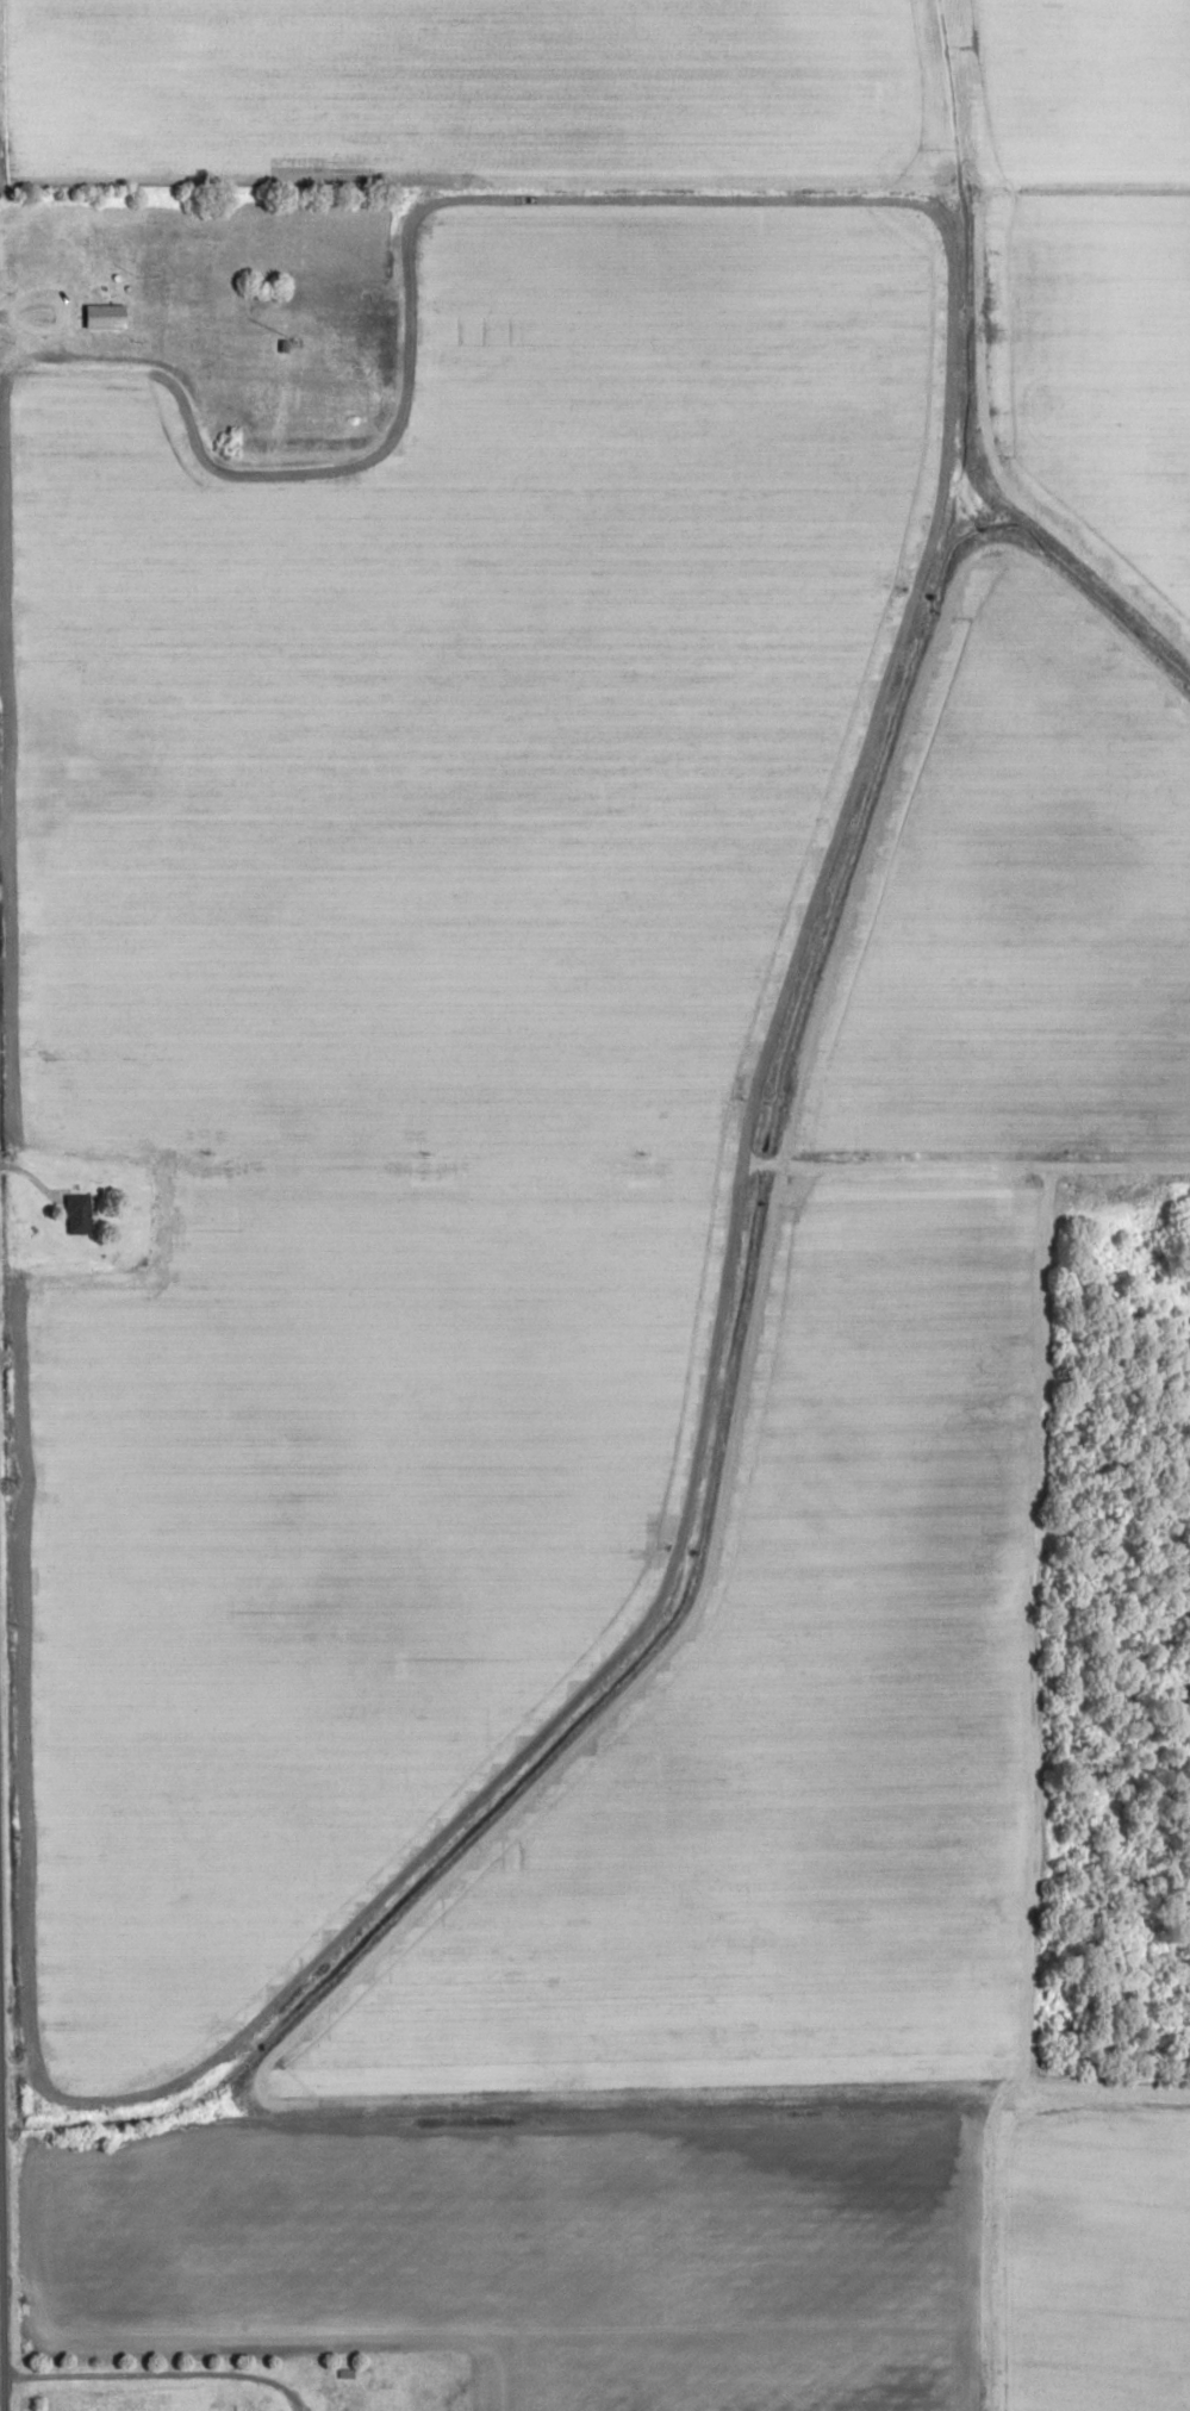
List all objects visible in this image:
building: (105, 317)
building: (87, 740)
building: (79, 1214)
road: (662, 1588)
road: (0, 2353)
road: (173, 2368)

